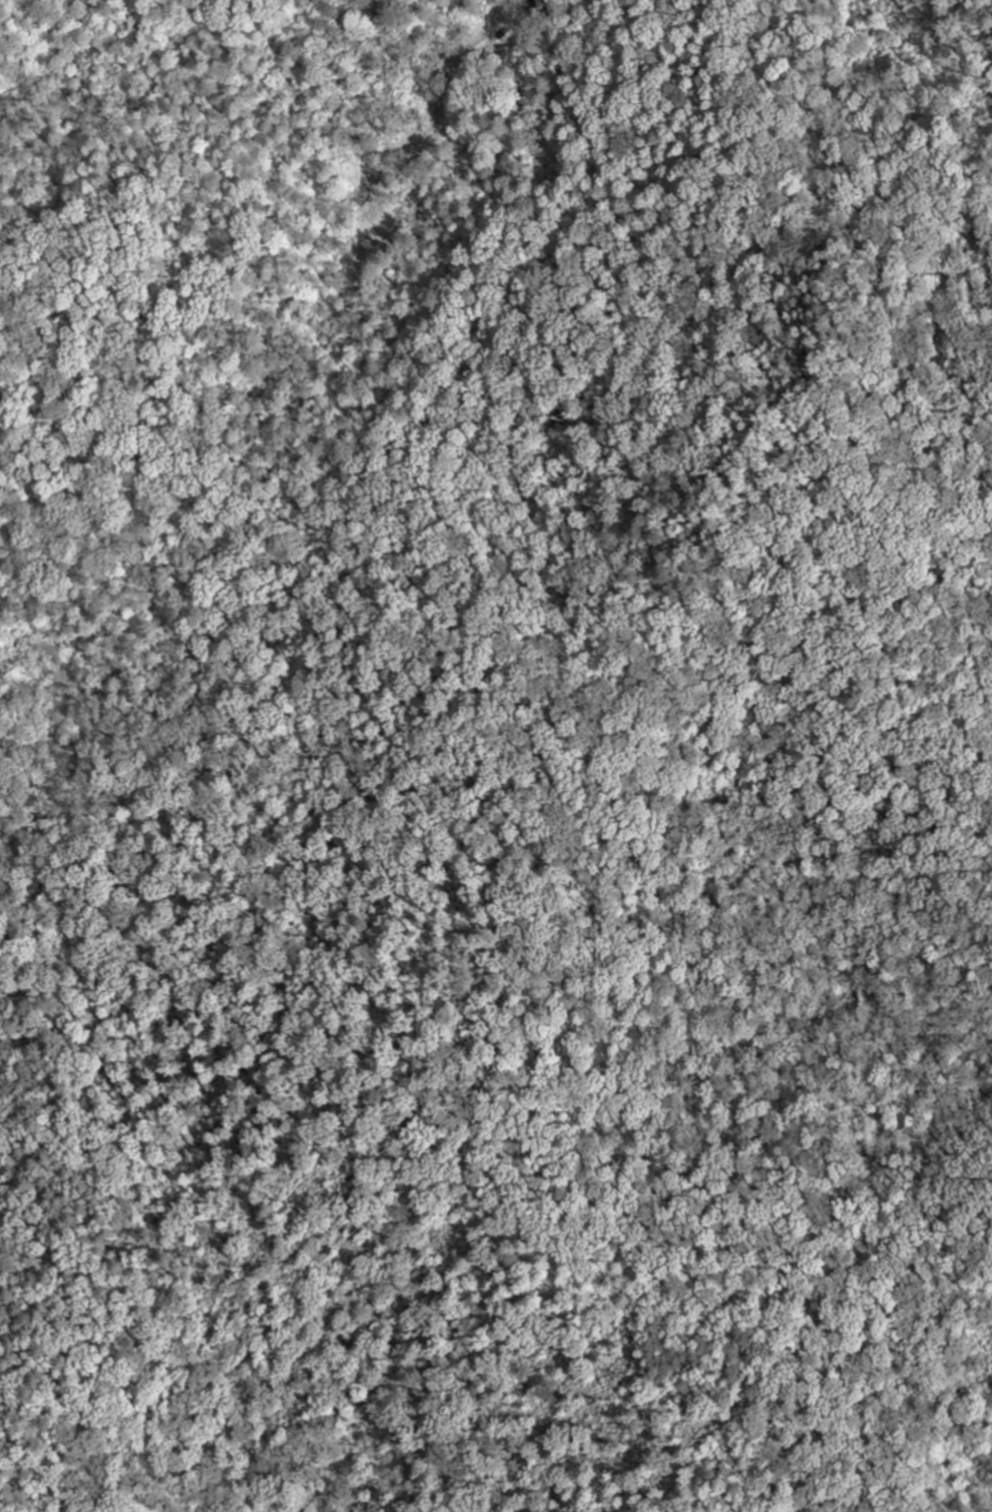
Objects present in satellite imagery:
road: (590, 47)

